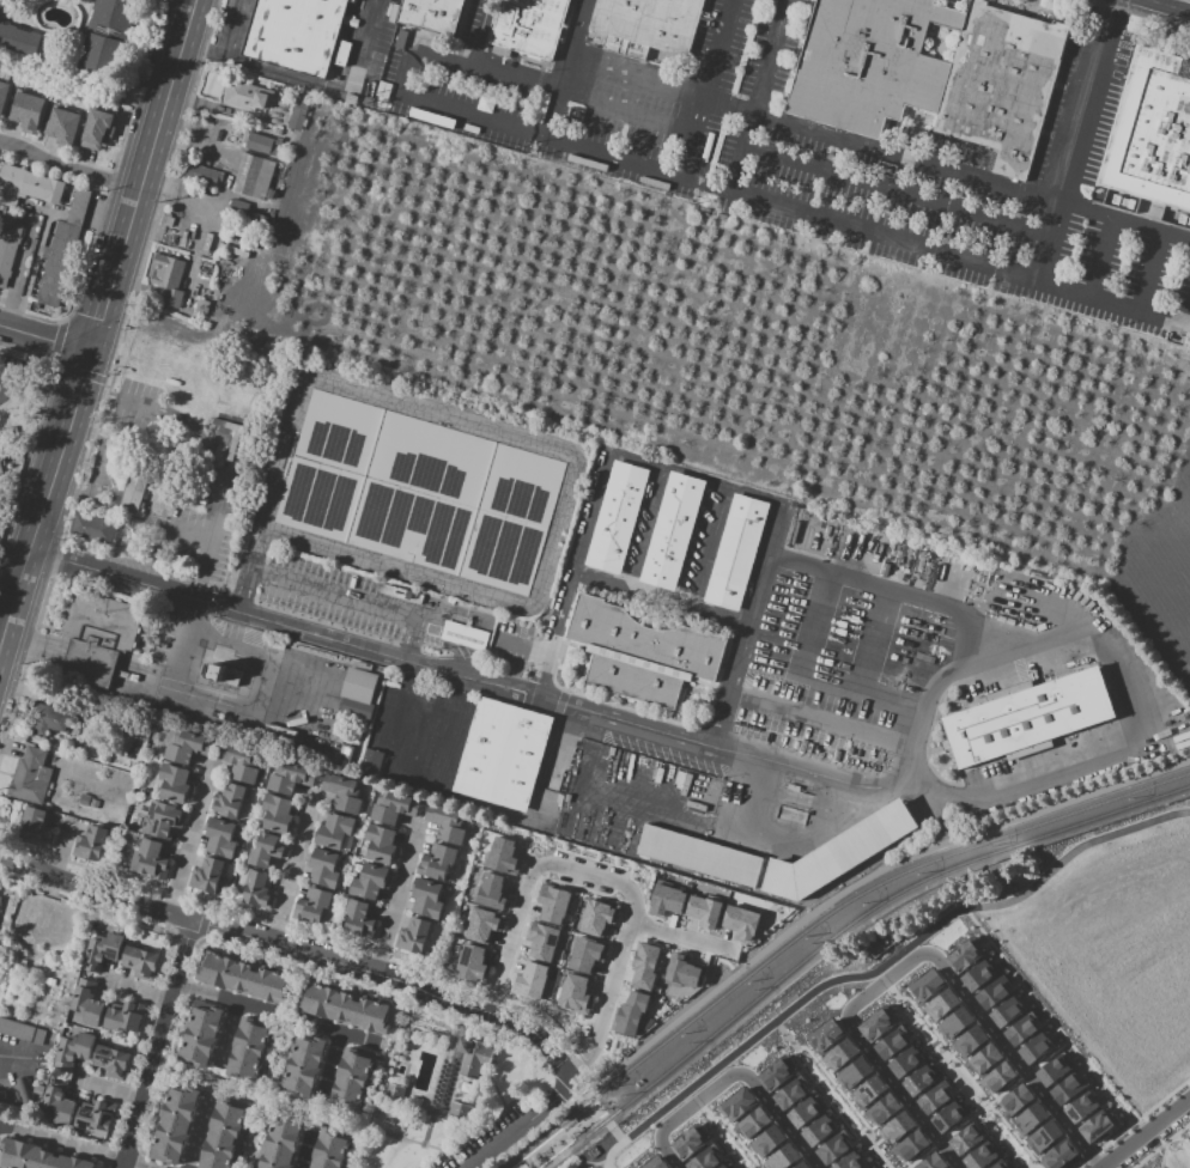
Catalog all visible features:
road: (1107, 14)
building: (432, 16)
building: (529, 25)
building: (646, 25)
building: (107, 28)
road: (236, 29)
road: (372, 31)
building: (300, 34)
building: (19, 39)
road: (201, 51)
road: (443, 54)
road: (558, 68)
road: (512, 71)
building: (931, 73)
road: (700, 90)
building: (4, 96)
building: (247, 96)
road: (757, 97)
road: (621, 108)
building: (28, 111)
building: (297, 116)
building: (65, 128)
building: (98, 129)
building: (278, 132)
building: (261, 144)
building: (1152, 144)
road: (1068, 159)
road: (65, 171)
building: (204, 175)
road: (971, 176)
building: (253, 177)
road: (227, 181)
building: (28, 187)
crop: (215, 187)
road: (894, 194)
road: (789, 214)
building: (166, 219)
building: (206, 243)
building: (62, 248)
building: (8, 250)
road: (1101, 261)
road: (108, 275)
road: (1149, 275)
building: (169, 278)
building: (202, 306)
road: (1186, 320)
road: (42, 340)
road: (54, 341)
road: (12, 347)
traffic signals: (86, 352)
road: (47, 366)
road: (78, 371)
parking lot: (11, 381)
road: (8, 387)
road: (98, 466)
building: (1, 467)
road: (24, 479)
building: (385, 483)
building: (132, 492)
building: (618, 517)
building: (90, 527)
building: (674, 531)
road: (218, 533)
road: (583, 537)
building: (737, 553)
road: (761, 570)
road: (892, 588)
crop: (1160, 589)
road: (334, 594)
road: (660, 598)
road: (13, 601)
building: (99, 635)
building: (463, 635)
road: (35, 645)
road: (524, 647)
road: (370, 650)
road: (801, 650)
building: (645, 652)
road: (1115, 655)
road: (547, 661)
building: (364, 665)
road: (866, 668)
parking lot: (207, 674)
road: (145, 680)
road: (729, 685)
building: (359, 686)
road: (233, 711)
building: (1031, 717)
building: (48, 719)
road: (820, 719)
building: (188, 747)
building: (503, 754)
building: (239, 764)
road: (822, 771)
building: (30, 777)
building: (289, 778)
road: (409, 780)
building: (175, 784)
building: (344, 792)
building: (231, 801)
building: (87, 803)
building: (395, 808)
building: (277, 814)
building: (162, 819)
road: (941, 819)
building: (447, 822)
building: (36, 826)
building: (335, 831)
road: (192, 833)
building: (220, 838)
building: (91, 844)
building: (381, 845)
road: (61, 847)
building: (267, 851)
building: (843, 853)
building: (702, 854)
building: (150, 859)
building: (500, 860)
building: (437, 862)
road: (293, 868)
building: (323, 868)
building: (208, 875)
road: (599, 880)
building: (370, 881)
road: (861, 883)
building: (259, 889)
building: (491, 890)
building: (0, 896)
building: (0, 898)
road: (397, 898)
building: (427, 899)
building: (666, 899)
building: (555, 906)
building: (312, 907)
road: (208, 908)
building: (704, 910)
railway: (868, 914)
building: (596, 917)
building: (359, 918)
railway: (821, 921)
building: (741, 923)
building: (481, 924)
road: (202, 925)
road: (184, 933)
building: (414, 935)
road: (673, 936)
road: (299, 950)
building: (102, 951)
building: (577, 953)
building: (965, 954)
building: (591, 956)
road: (915, 956)
building: (140, 961)
building: (536, 961)
building: (472, 963)
building: (644, 966)
building: (979, 974)
building: (679, 975)
building: (242, 978)
building: (927, 984)
road: (136, 988)
building: (575, 992)
building: (992, 992)
building: (86, 1003)
building: (941, 1004)
building: (350, 1009)
building: (1007, 1011)
building: (632, 1014)
road: (274, 1015)
building: (125, 1017)
building: (954, 1022)
building: (878, 1024)
building: (1021, 1029)
building: (22, 1030)
road: (229, 1034)
building: (201, 1035)
building: (826, 1035)
building: (970, 1040)
road: (154, 1044)
building: (892, 1044)
building: (1036, 1047)
building: (72, 1050)
building: (249, 1050)
road: (384, 1050)
building: (840, 1054)
building: (473, 1058)
building: (983, 1058)
road: (16, 1060)
road: (279, 1060)
building: (111, 1061)
building: (905, 1061)
building: (304, 1064)
road: (333, 1065)
building: (1052, 1070)
road: (730, 1072)
building: (855, 1072)
building: (776, 1073)
road: (702, 1076)
road: (384, 1077)
building: (997, 1077)
building: (352, 1078)
building: (921, 1078)
road: (558, 1085)
road: (108, 1087)
building: (1067, 1088)
building: (868, 1090)
building: (789, 1094)
building: (934, 1097)
building: (1016, 1097)
road: (530, 1102)
building: (737, 1103)
building: (59, 1106)
road: (579, 1107)
building: (1081, 1107)
building: (881, 1109)
building: (806, 1111)
road: (597, 1112)
building: (949, 1115)
building: (96, 1117)
building: (1031, 1118)
building: (753, 1123)
building: (174, 1125)
road: (522, 1125)
building: (1097, 1125)
building: (897, 1127)
road: (579, 1129)
building: (819, 1130)
railway: (560, 1132)
road: (1143, 1132)
parking lot: (504, 1133)
road: (198, 1134)
building: (223, 1134)
building: (1044, 1136)
park: (406, 1137)
building: (965, 1139)
road: (60, 1140)
building: (767, 1140)
building: (690, 1142)
building: (279, 1143)
building: (910, 1145)
building: (832, 1148)
road: (309, 1149)
building: (332, 1149)
railway: (573, 1149)
building: (980, 1155)
building: (1058, 1155)
building: (38, 1156)
building: (782, 1156)
building: (705, 1158)
road: (442, 1161)
building: (850, 1161)
road: (588, 1162)
building: (931, 1162)
building: (656, 1163)
road: (134, 1164)
building: (802, 1164)
building: (1000, 1164)
building: (727, 1166)
building: (523, 1167)
road: (576, 1167)
building: (869, 1167)

